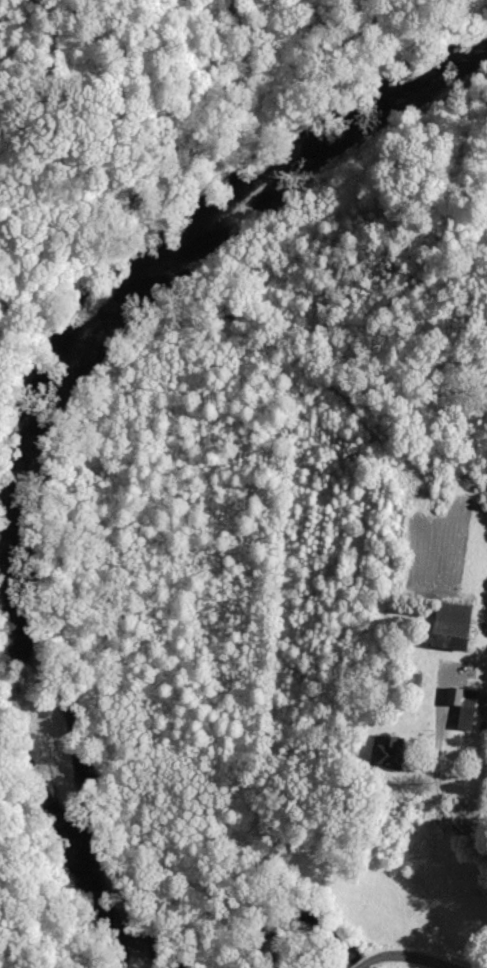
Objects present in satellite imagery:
building: (456, 641)
building: (466, 706)
building: (391, 754)
road: (444, 796)
road: (397, 954)

